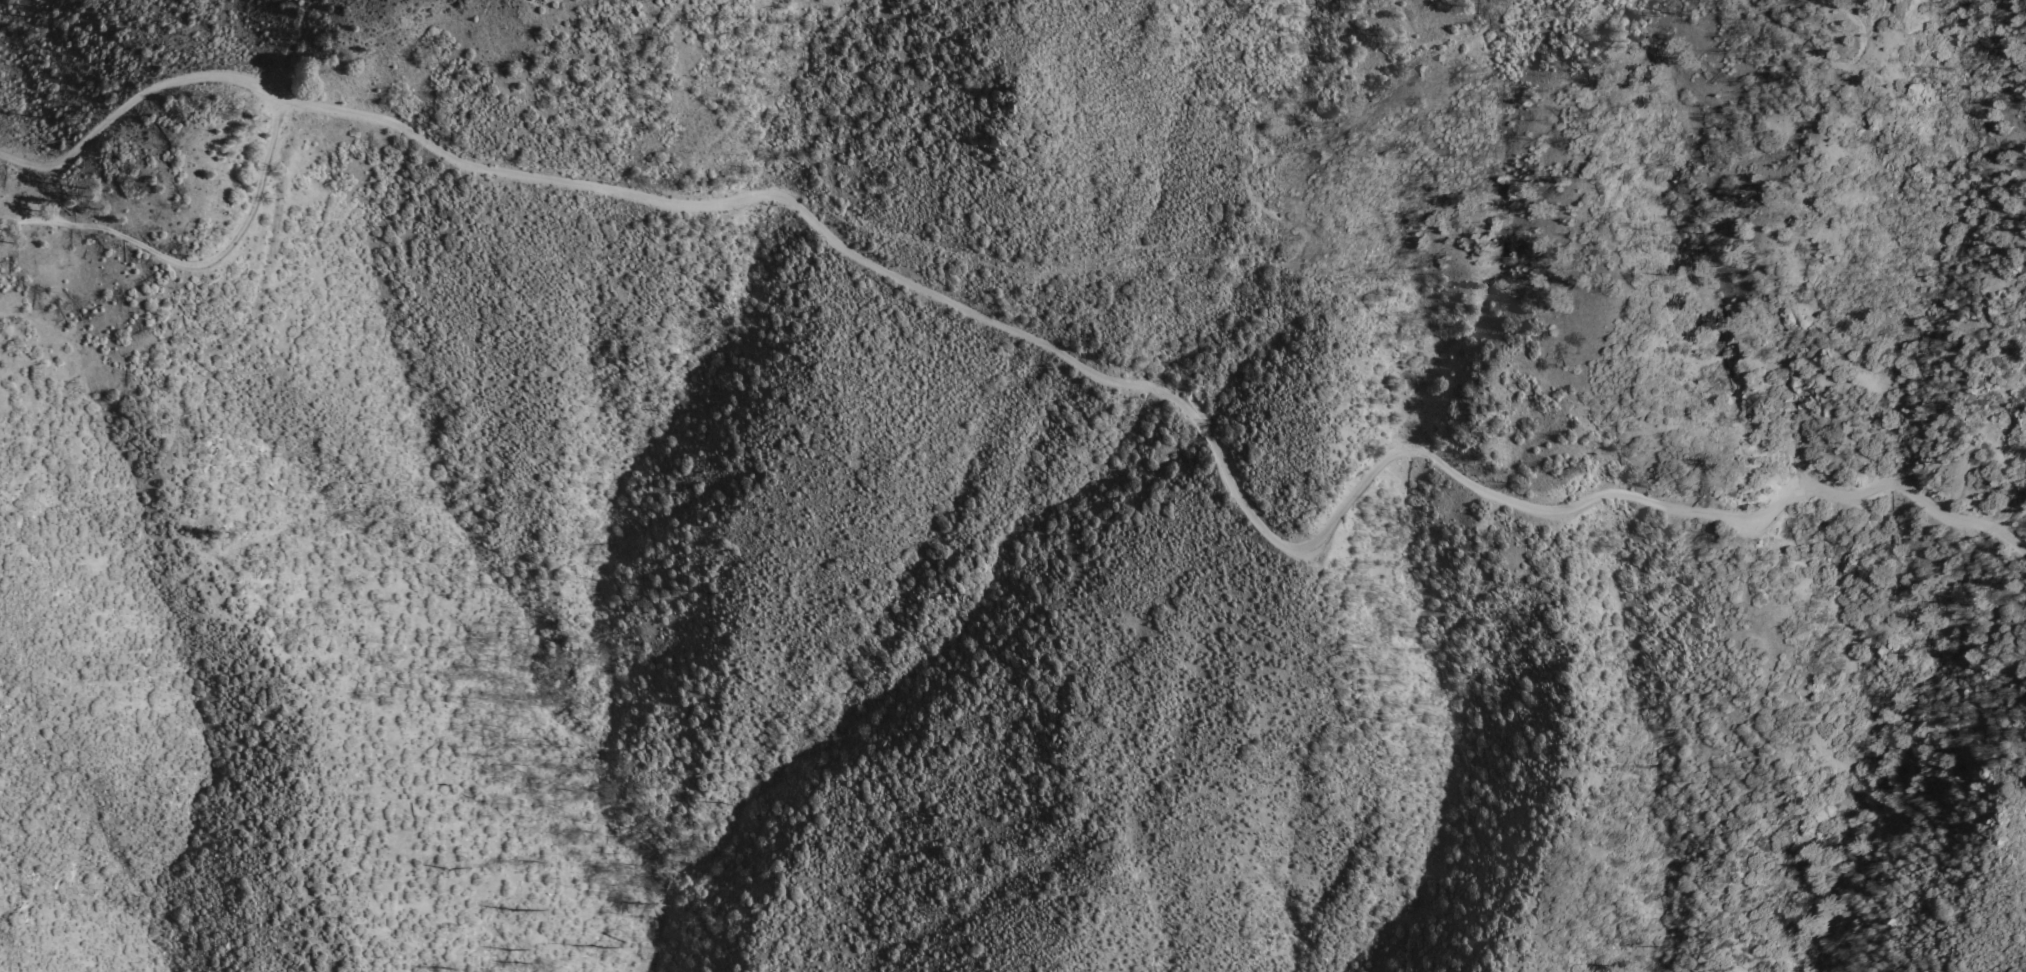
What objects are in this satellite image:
road: (1826, 53)
road: (1301, 262)
road: (195, 265)
road: (1046, 347)
road: (193, 356)

